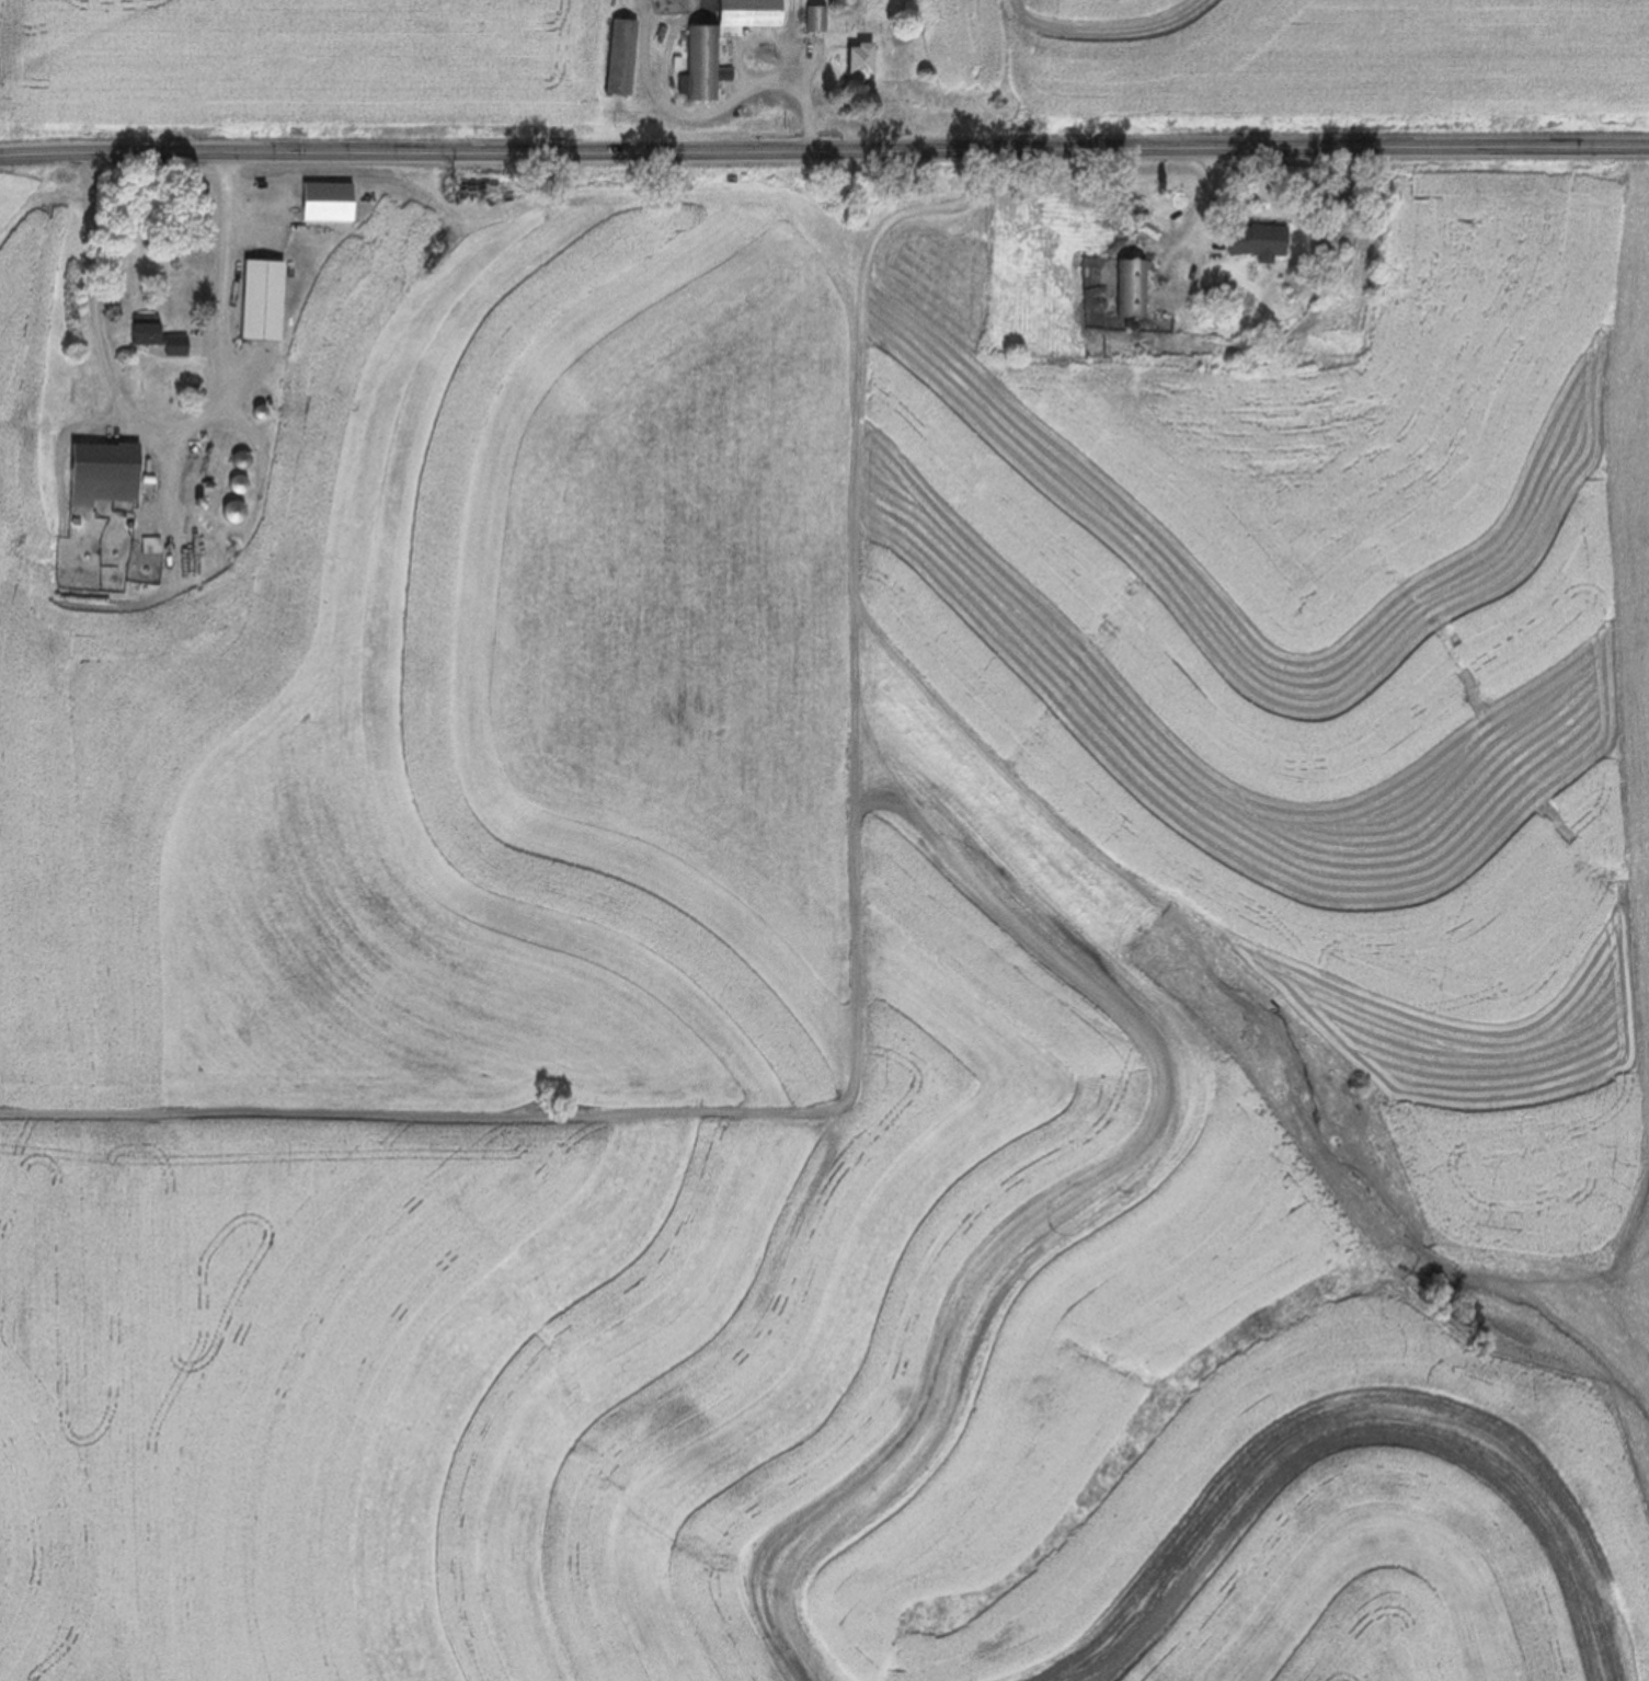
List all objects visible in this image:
building: (812, 15)
building: (698, 49)
building: (616, 55)
building: (851, 59)
road: (824, 149)
building: (321, 201)
building: (1250, 239)
building: (1126, 285)
building: (257, 298)
building: (1090, 307)
building: (151, 334)
road: (162, 424)
building: (99, 471)
building: (233, 482)
building: (227, 510)

